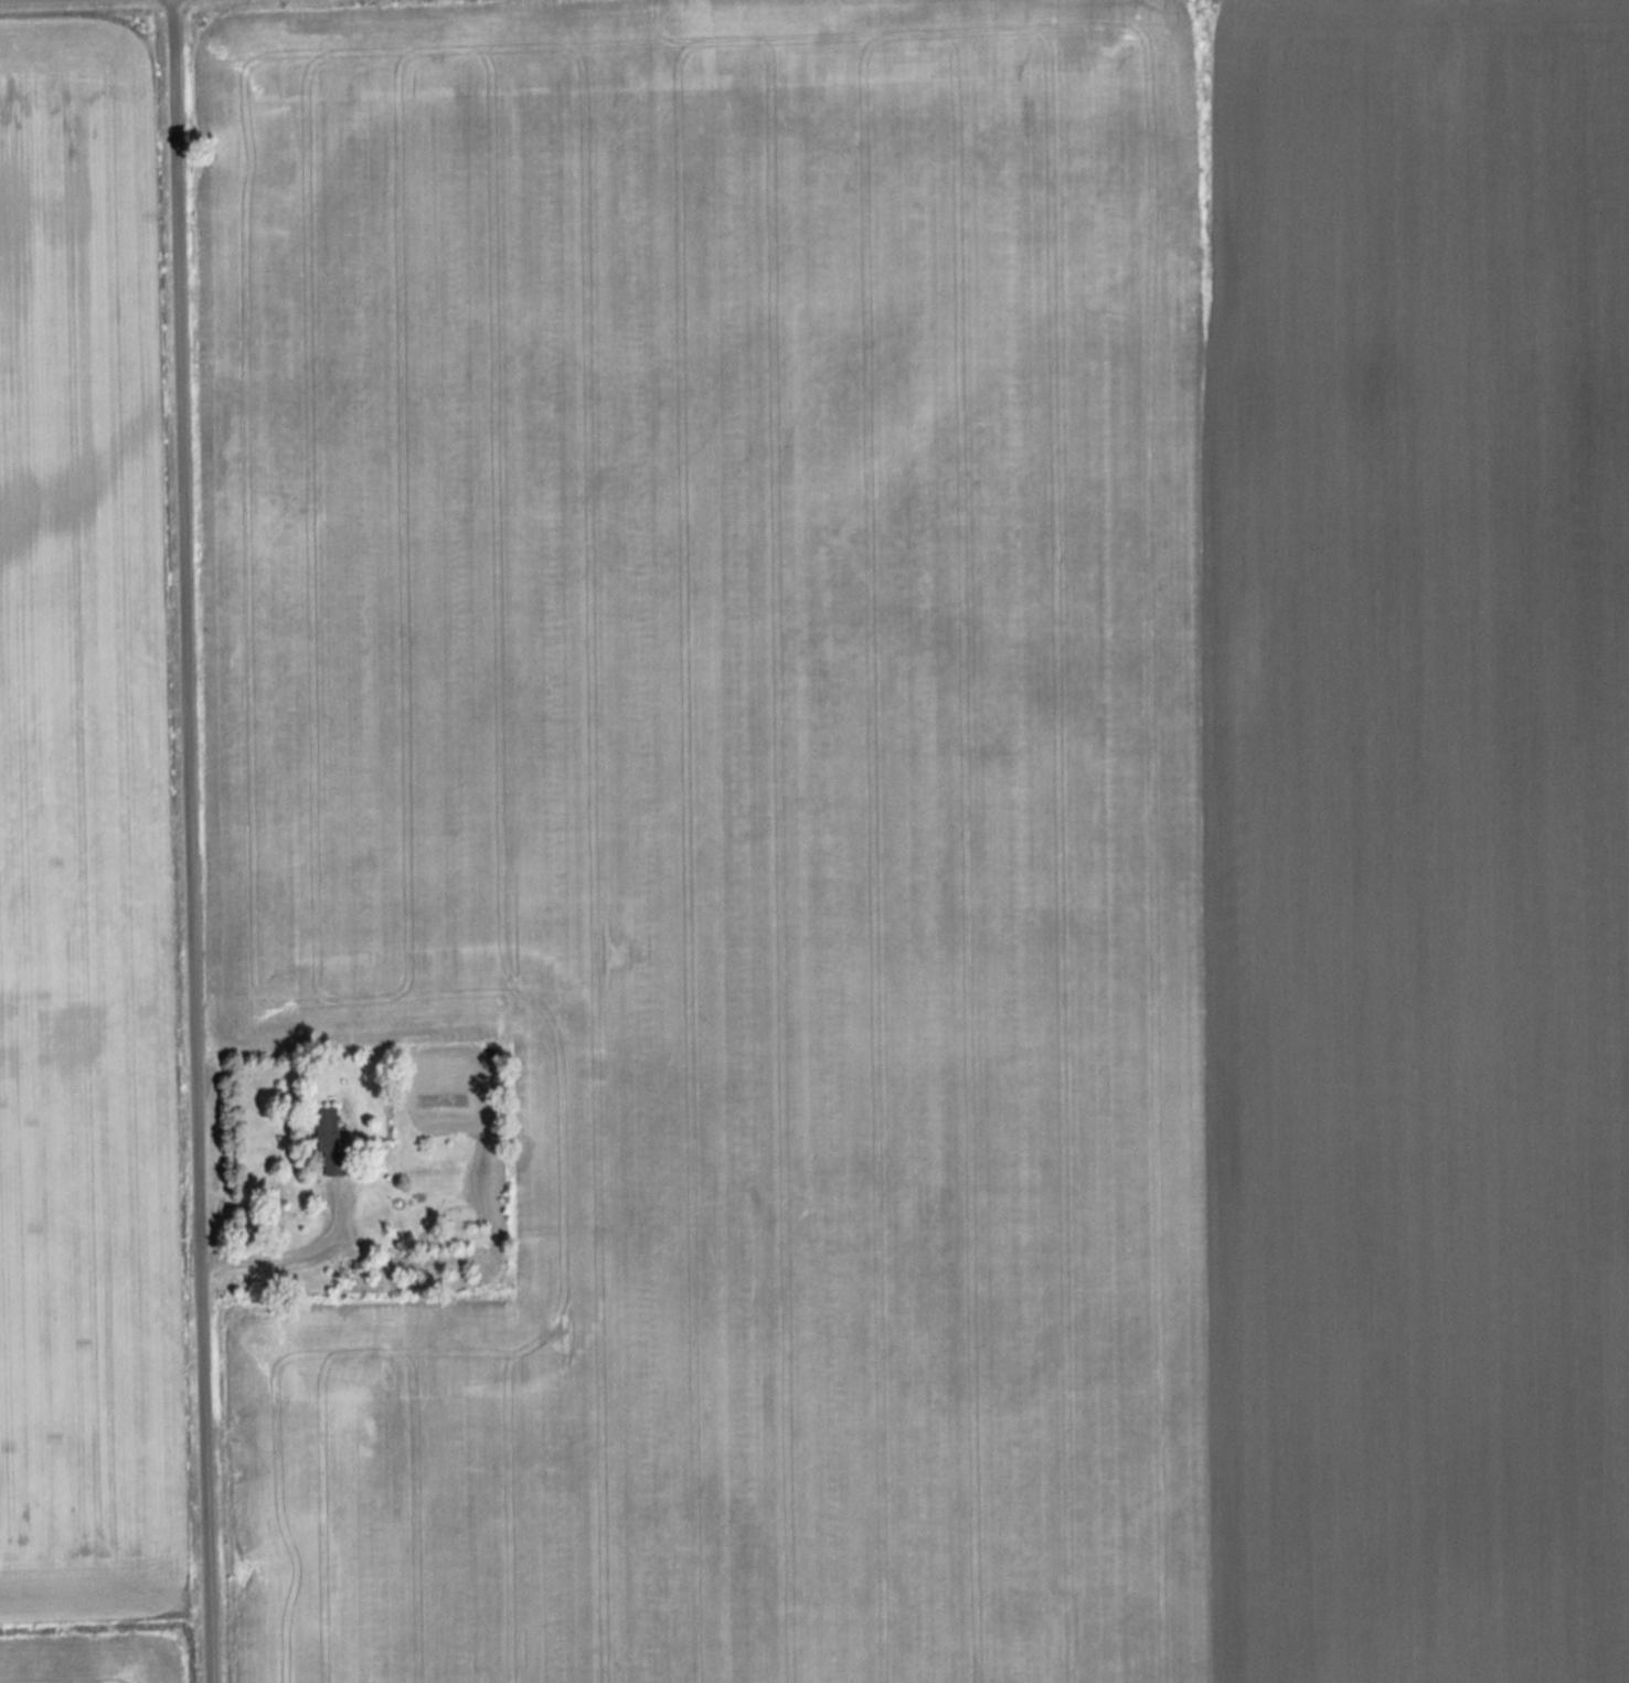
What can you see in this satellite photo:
road: (183, 841)
building: (328, 1140)

